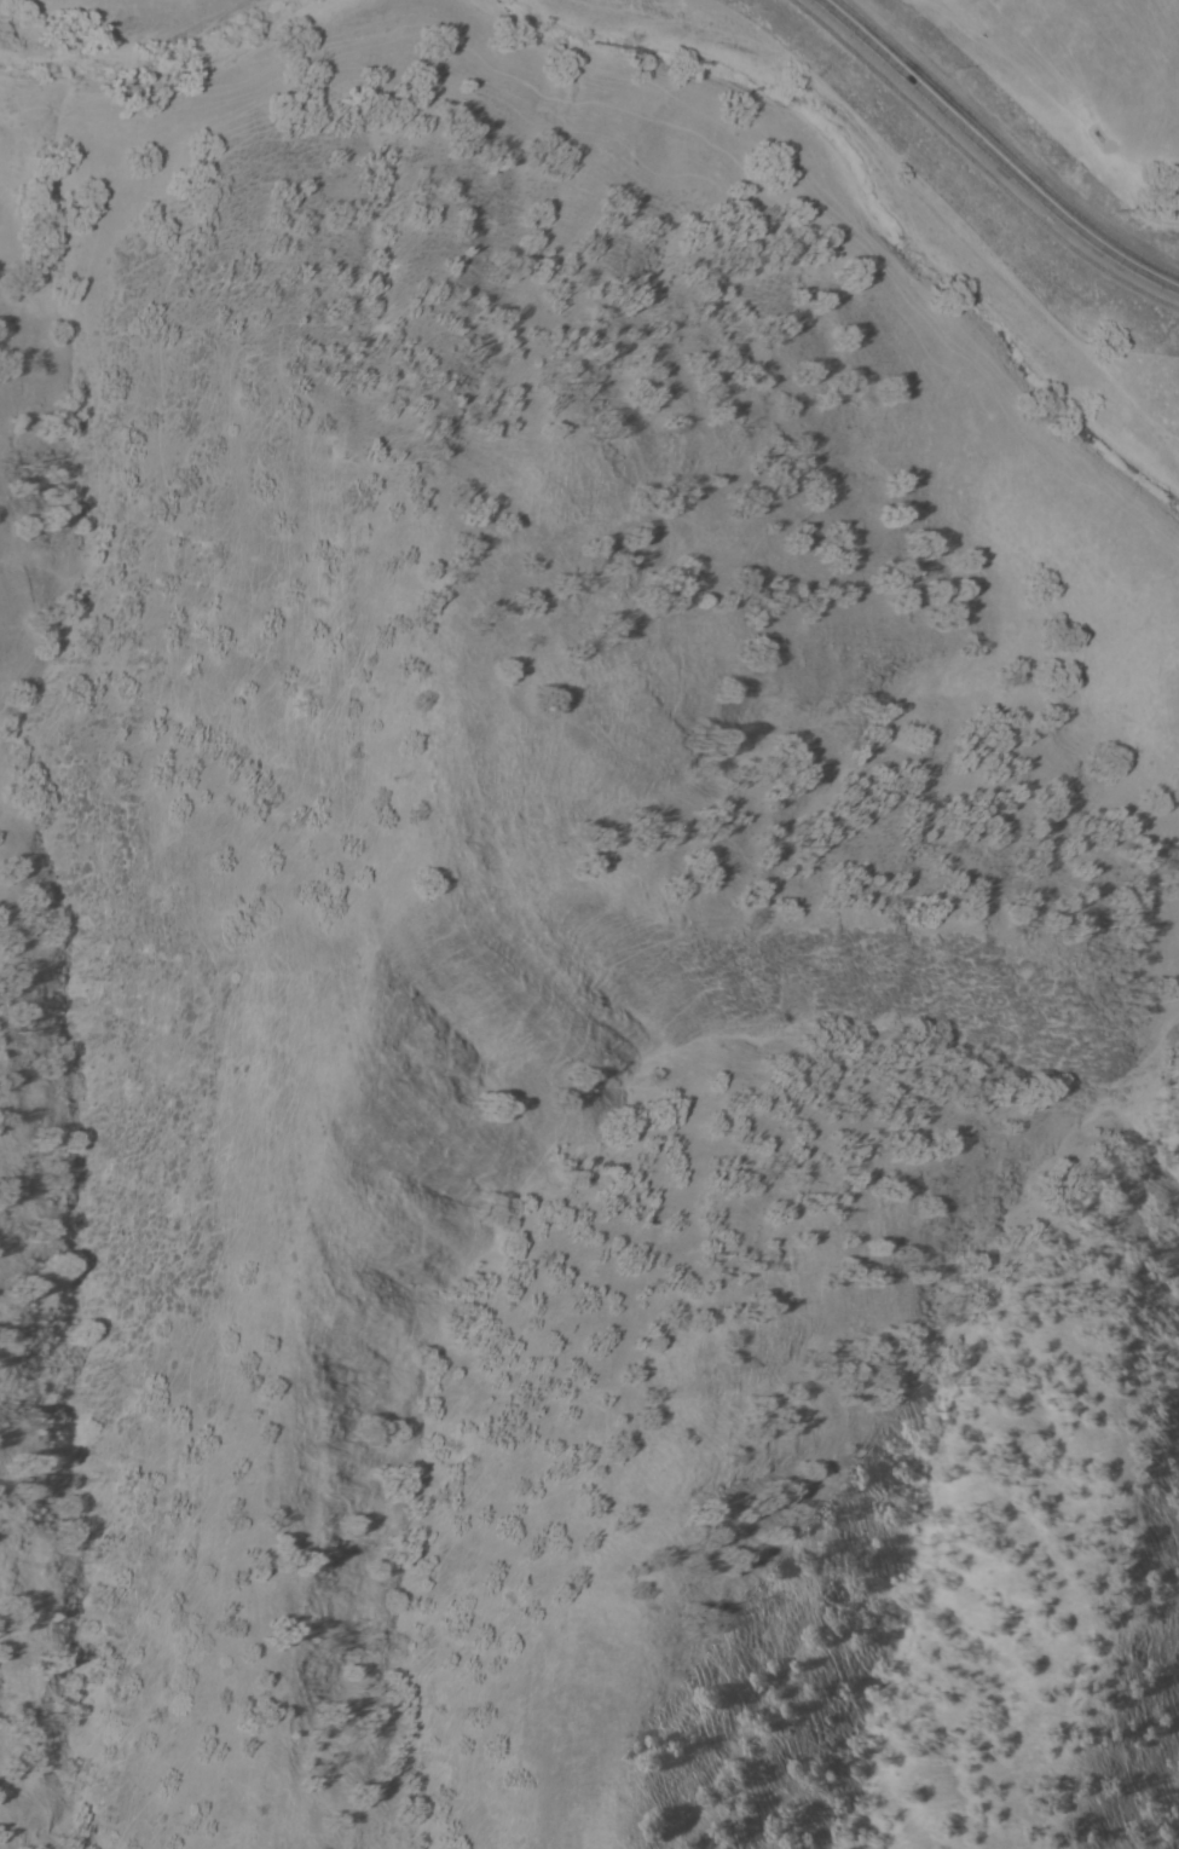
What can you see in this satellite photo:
road: (1012, 139)

